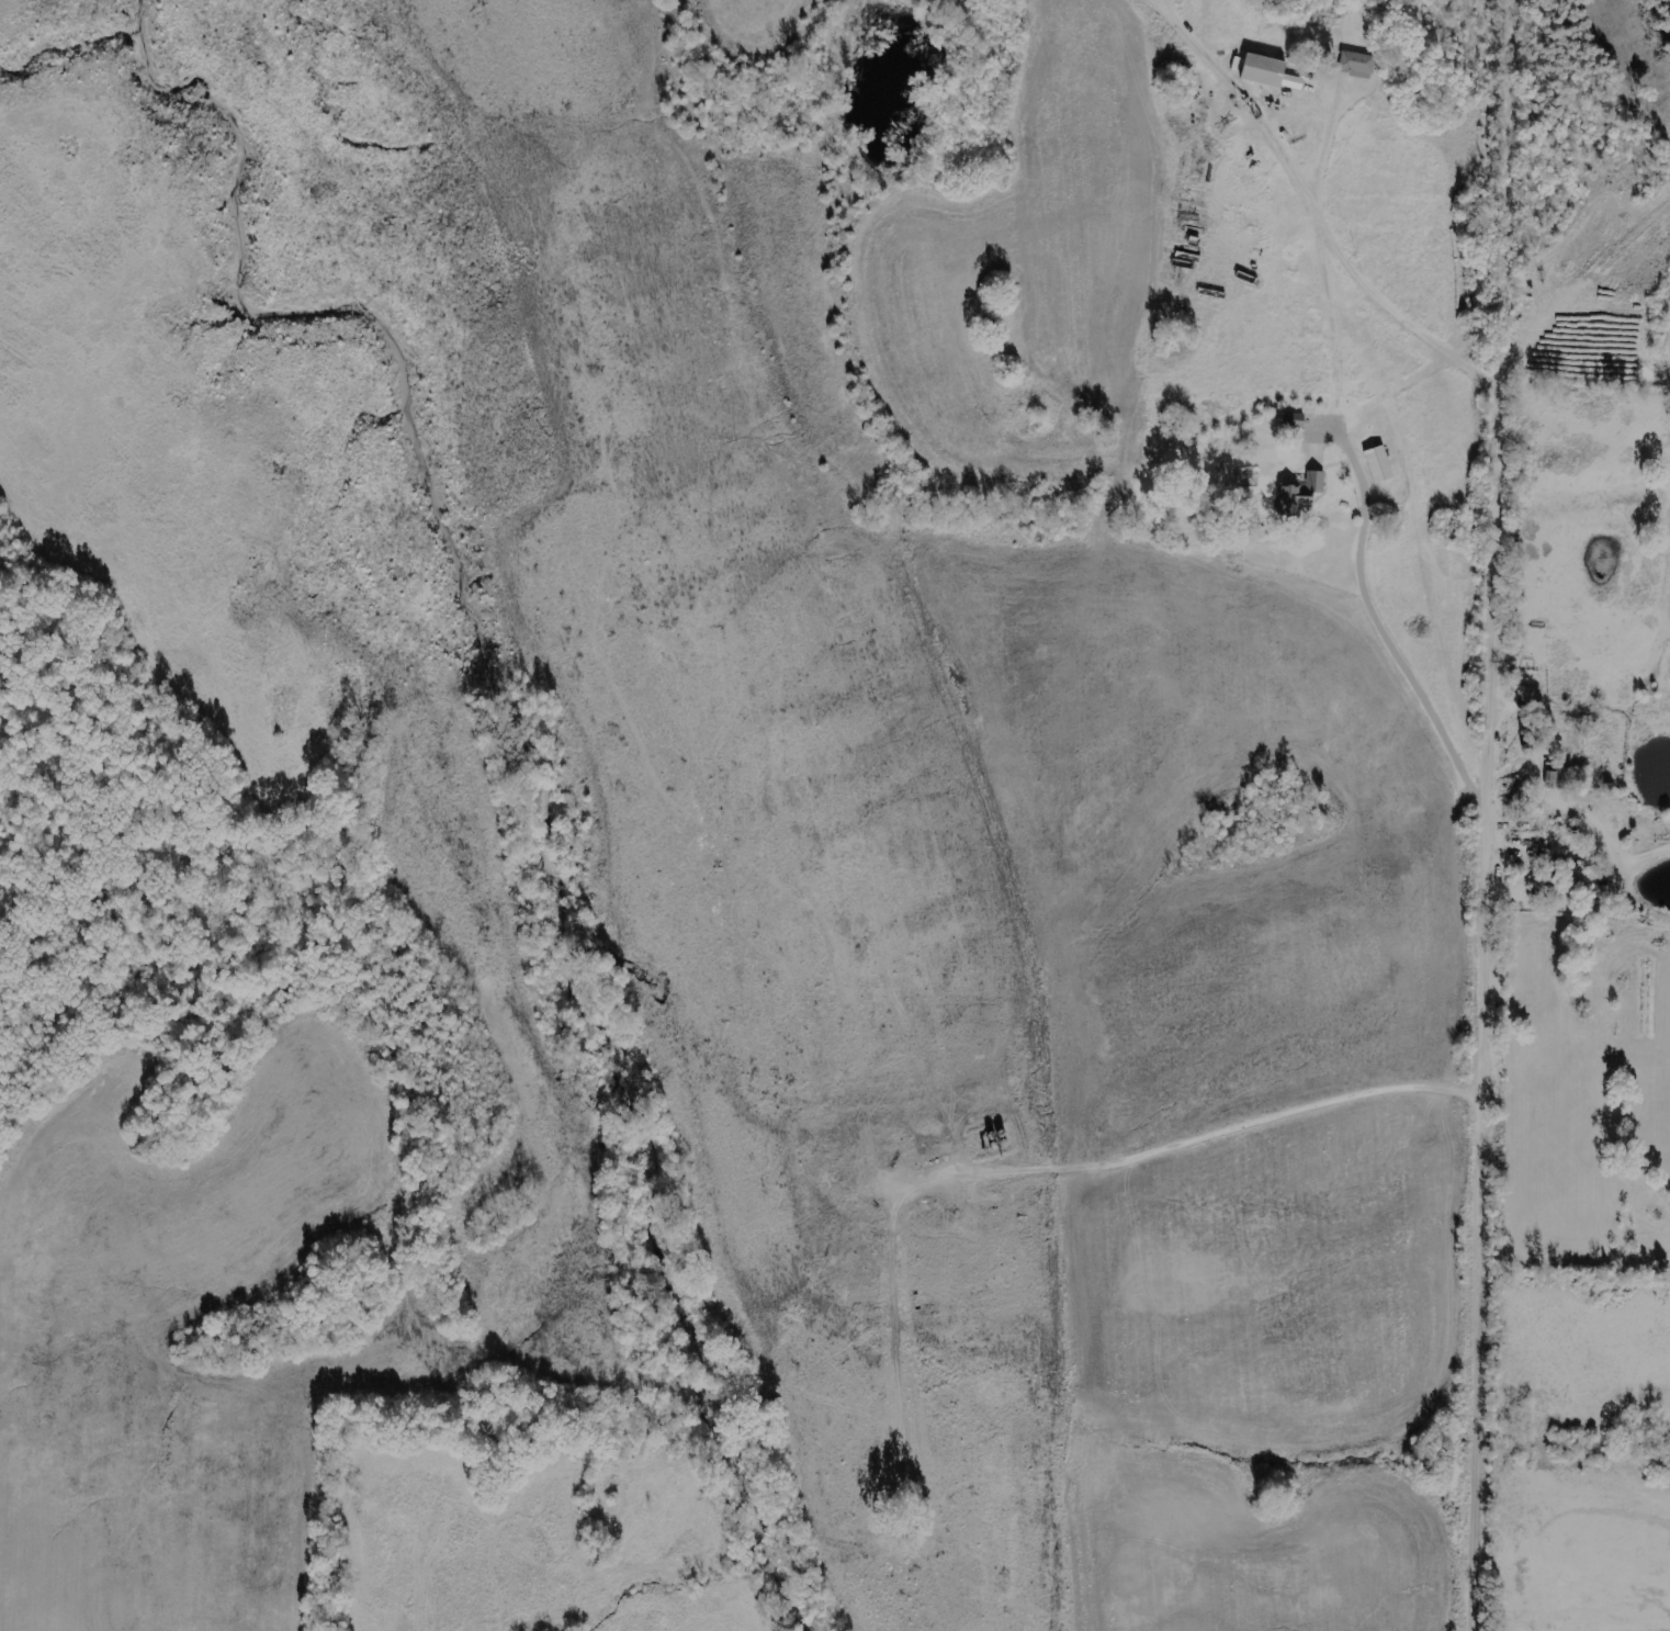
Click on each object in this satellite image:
building: (1358, 64)
building: (1266, 70)
building: (1380, 464)
road: (1366, 517)
road: (1496, 755)

